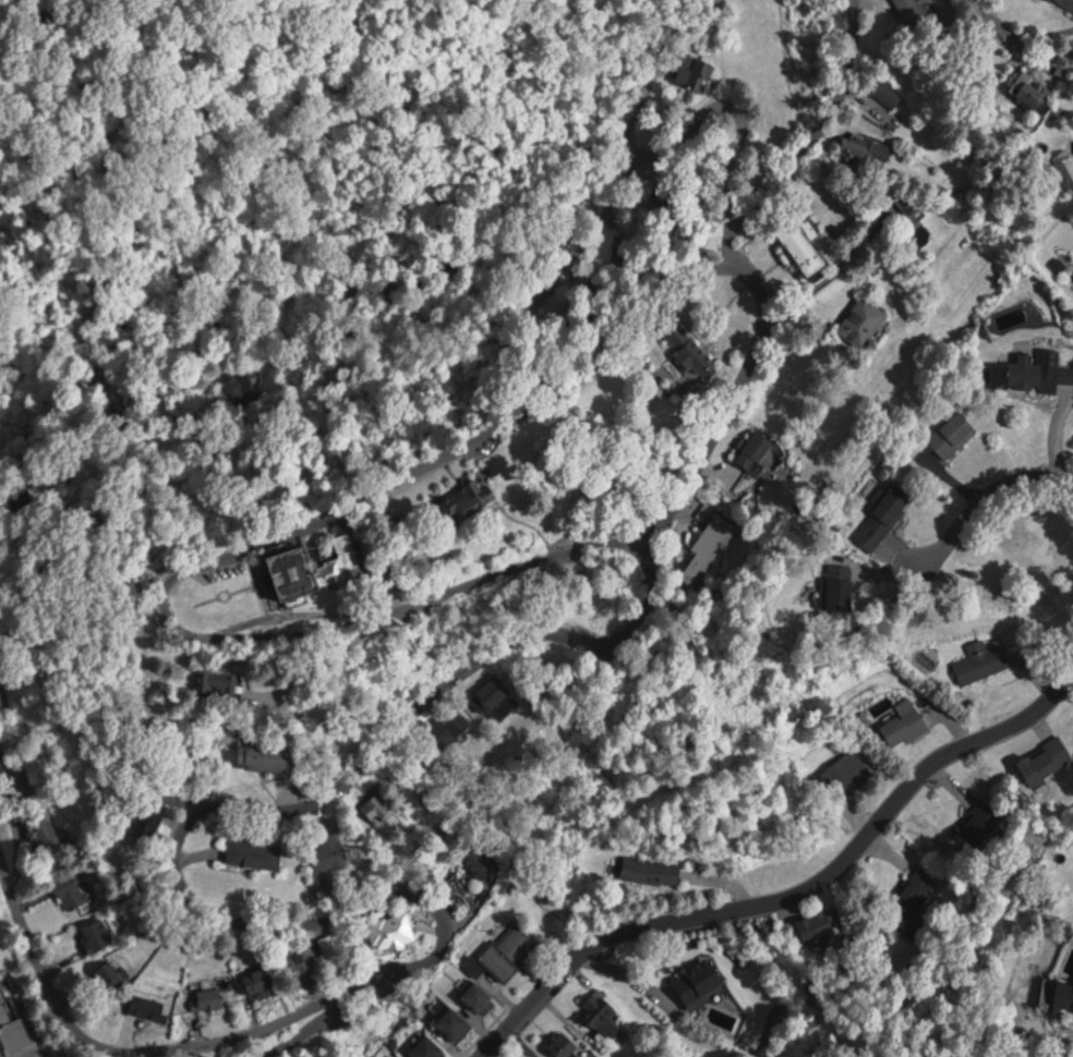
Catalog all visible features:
building: (1069, 2)
building: (917, 13)
road: (1005, 28)
building: (694, 70)
building: (1034, 88)
road: (810, 139)
building: (866, 145)
building: (804, 247)
building: (863, 320)
building: (700, 355)
building: (1027, 368)
building: (239, 378)
road: (113, 429)
building: (954, 433)
building: (757, 448)
road: (986, 487)
building: (471, 501)
building: (887, 514)
building: (710, 546)
road: (216, 563)
building: (320, 569)
building: (830, 596)
building: (984, 660)
building: (222, 681)
building: (1, 692)
building: (498, 696)
building: (906, 726)
building: (451, 729)
building: (265, 754)
building: (1044, 758)
building: (13, 773)
building: (847, 773)
road: (333, 780)
building: (377, 812)
building: (148, 822)
building: (978, 822)
building: (48, 834)
building: (256, 852)
building: (330, 852)
building: (482, 862)
building: (655, 871)
building: (71, 887)
road: (789, 891)
building: (913, 900)
building: (820, 924)
building: (97, 933)
building: (509, 948)
building: (310, 958)
building: (112, 972)
building: (264, 976)
building: (701, 980)
building: (1061, 991)
building: (480, 994)
building: (213, 995)
building: (150, 1004)
building: (601, 1011)
building: (10, 1021)
building: (456, 1021)
building: (566, 1043)
building: (431, 1046)
road: (123, 1054)
building: (405, 1056)

